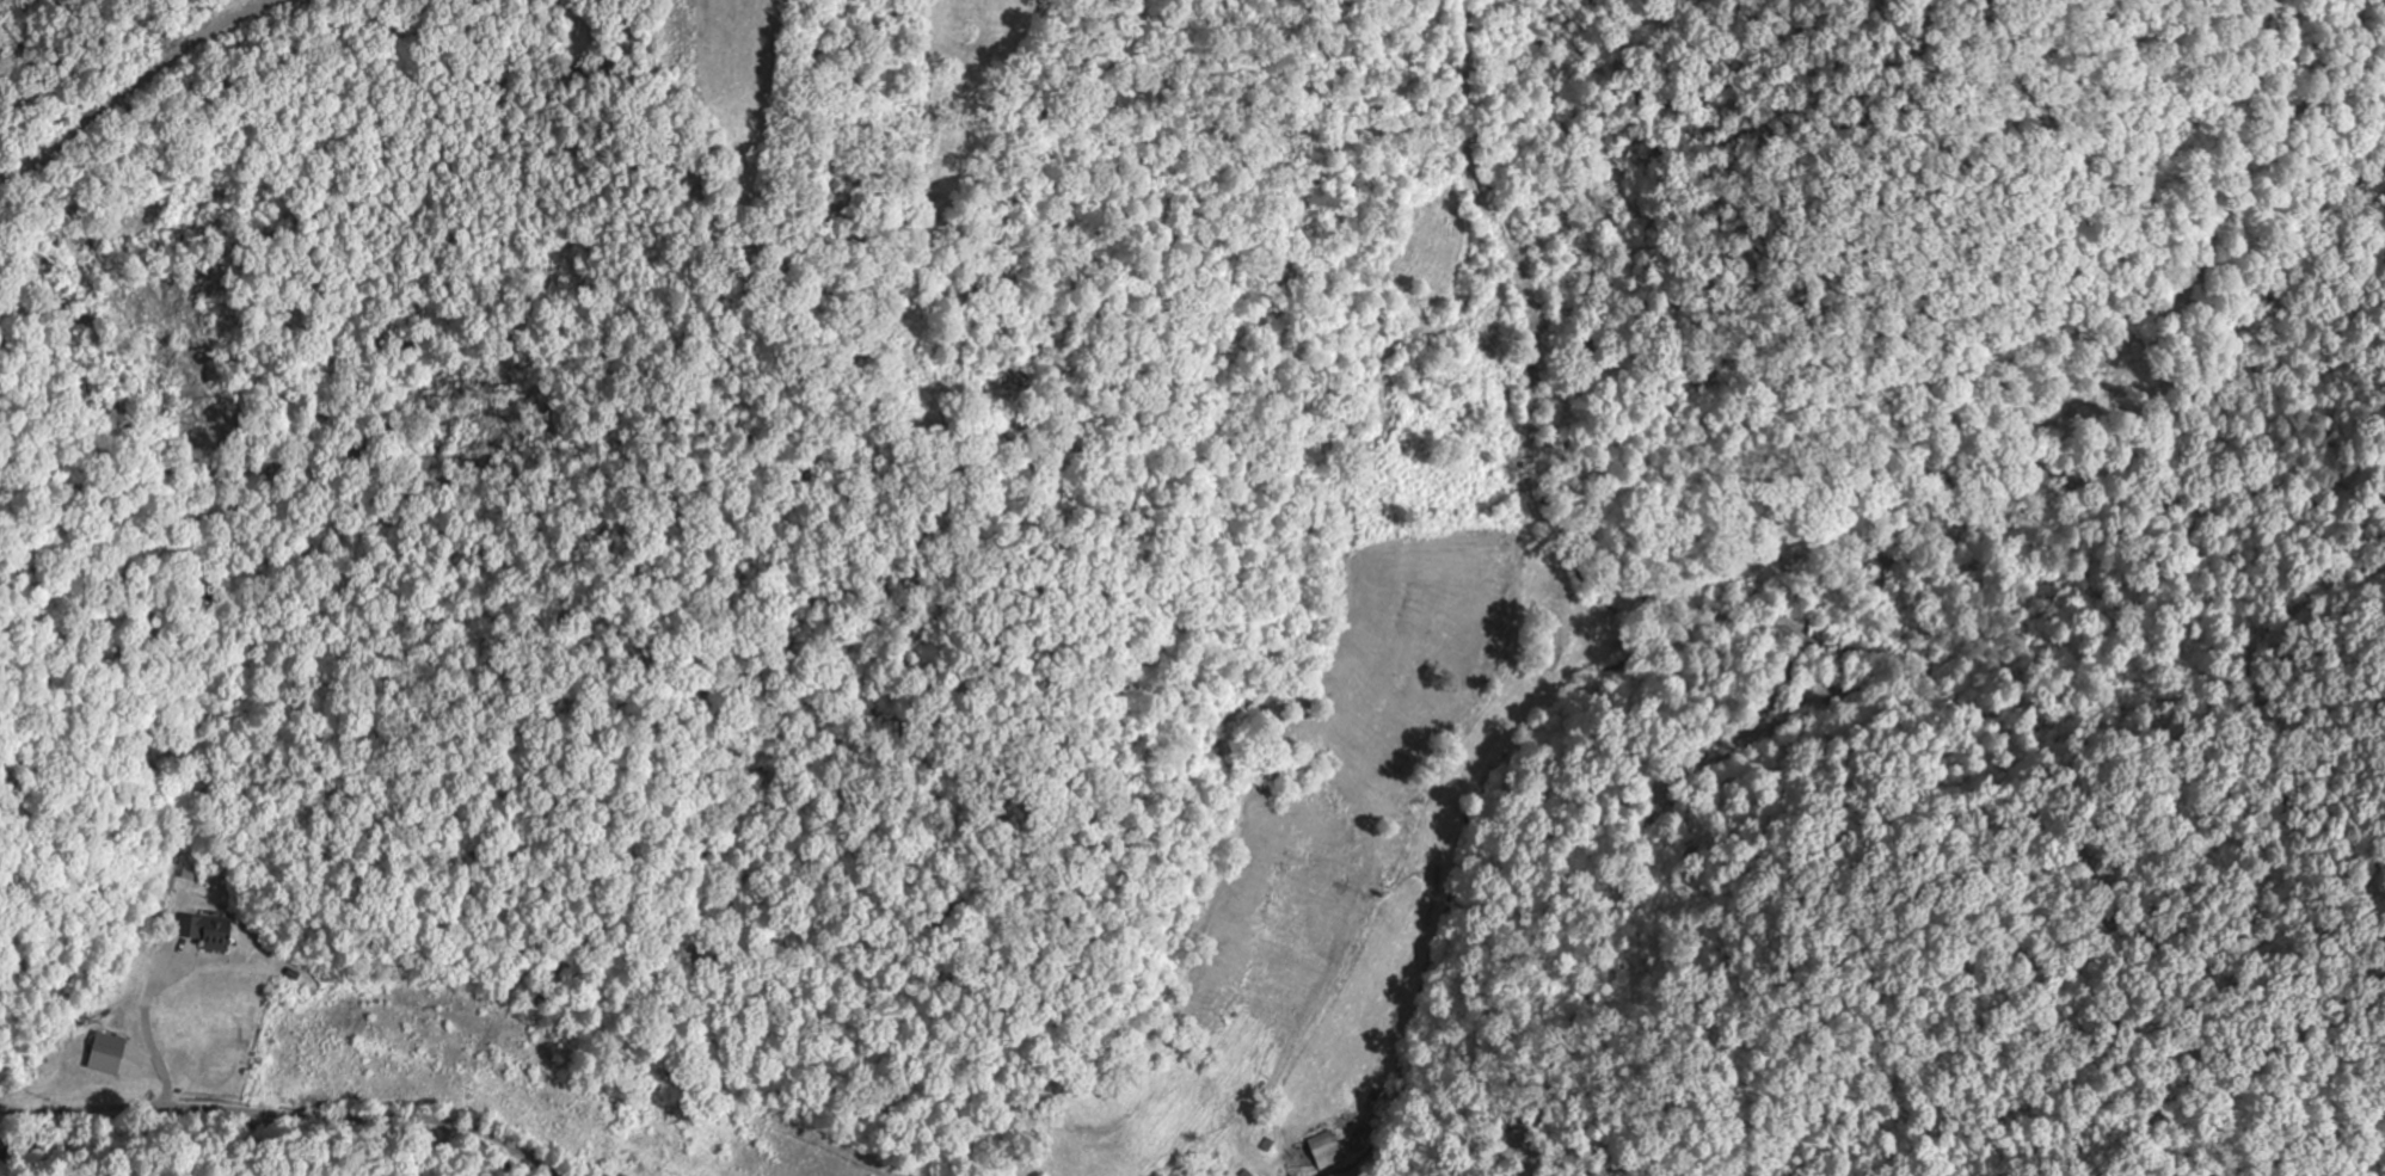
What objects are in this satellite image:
building: (208, 934)
building: (109, 1048)
road: (287, 1115)
building: (1326, 1147)

